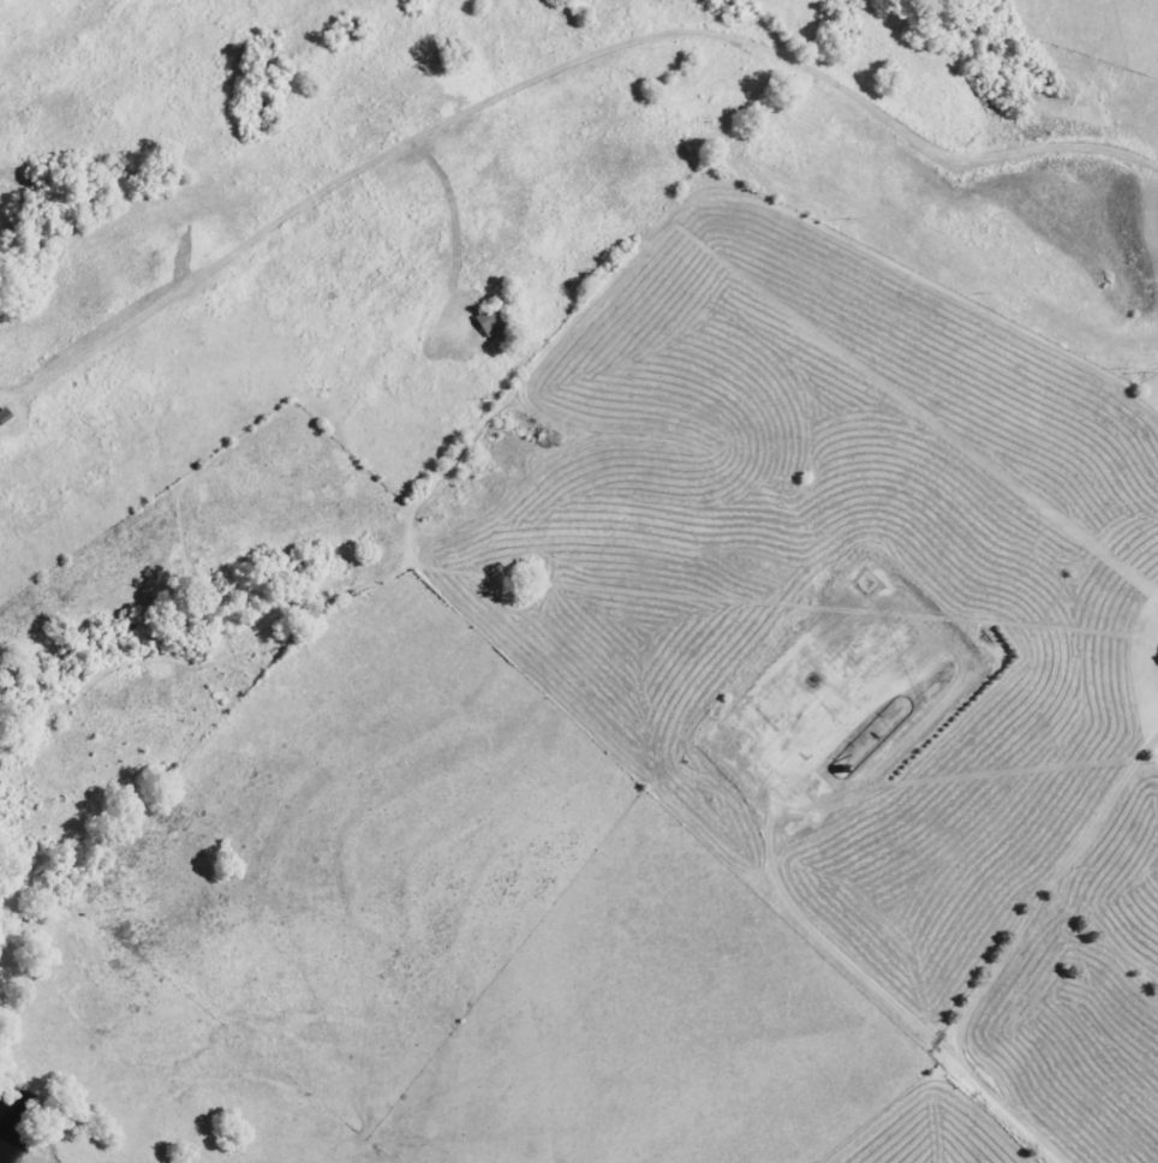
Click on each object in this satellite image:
road: (1051, 893)
road: (900, 1007)

